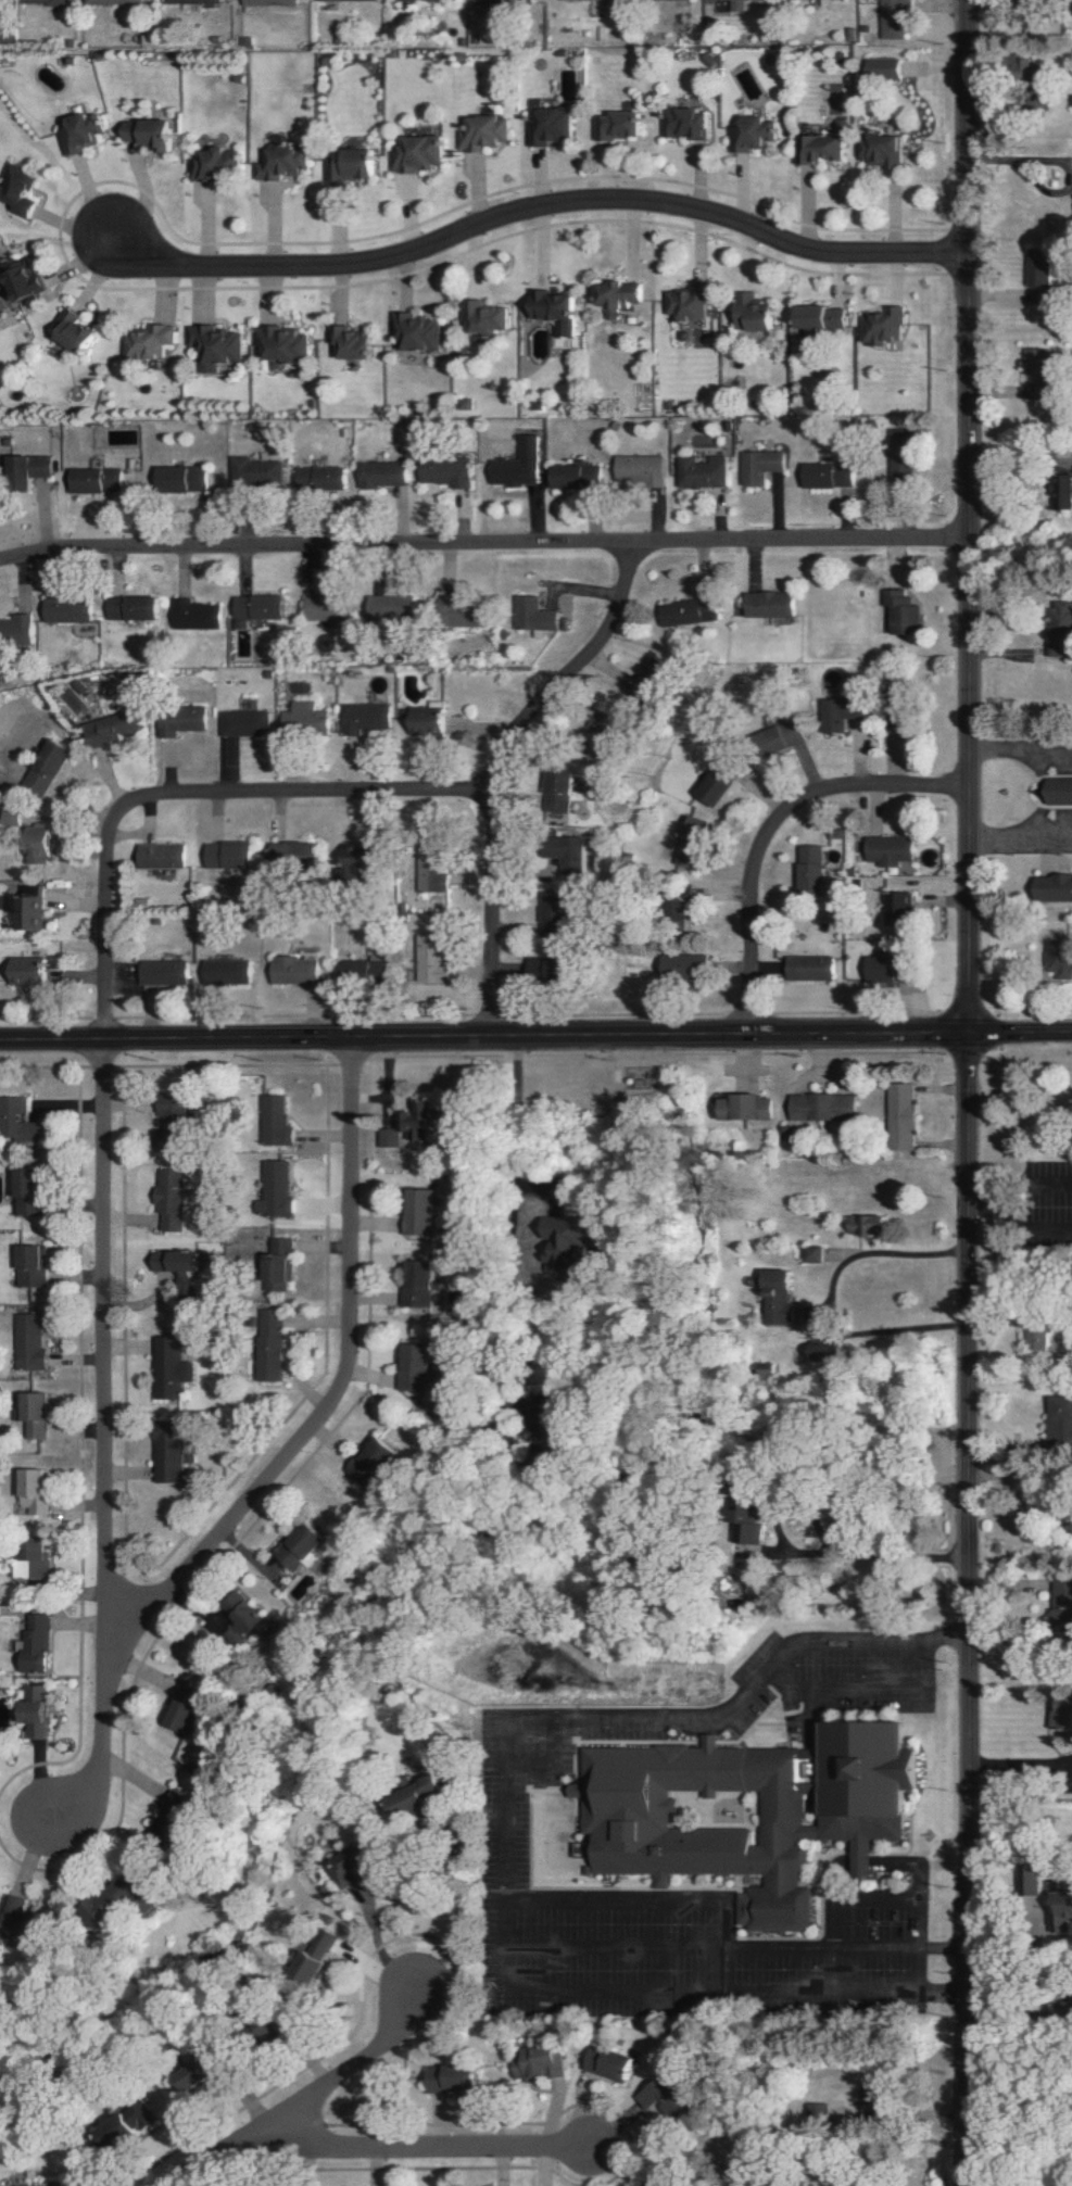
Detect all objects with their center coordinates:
building: (341, 0)
building: (400, 0)
building: (601, 0)
building: (769, 0)
building: (50, 1)
building: (114, 1)
building: (193, 1)
building: (504, 1)
building: (273, 2)
building: (739, 5)
building: (895, 17)
building: (886, 67)
building: (685, 122)
building: (551, 125)
building: (620, 126)
building: (85, 131)
building: (485, 132)
building: (154, 134)
building: (754, 135)
building: (820, 148)
building: (884, 148)
building: (417, 154)
building: (286, 161)
building: (354, 164)
building: (218, 165)
road: (1047, 187)
building: (22, 191)
road: (537, 206)
building: (1039, 276)
building: (26, 278)
building: (617, 296)
building: (686, 302)
building: (556, 309)
building: (756, 314)
building: (485, 317)
building: (820, 318)
building: (881, 326)
building: (78, 330)
building: (415, 332)
building: (285, 342)
building: (151, 343)
building: (219, 343)
building: (465, 404)
building: (518, 465)
building: (760, 466)
building: (33, 470)
building: (641, 470)
building: (446, 471)
building: (701, 471)
building: (255, 472)
building: (382, 473)
building: (827, 475)
building: (575, 476)
building: (321, 478)
building: (182, 479)
building: (98, 480)
building: (1071, 492)
road: (483, 543)
building: (768, 604)
building: (130, 608)
building: (255, 608)
building: (327, 608)
building: (394, 608)
building: (66, 609)
building: (686, 610)
building: (899, 611)
building: (533, 614)
building: (193, 615)
building: (1061, 629)
building: (16, 630)
building: (651, 681)
building: (841, 707)
building: (364, 718)
building: (304, 719)
building: (428, 720)
building: (895, 720)
building: (179, 721)
building: (243, 723)
building: (112, 728)
building: (785, 734)
road: (1011, 753)
building: (48, 767)
road: (496, 767)
building: (719, 782)
building: (558, 789)
building: (1061, 791)
road: (185, 795)
road: (769, 827)
road: (1019, 841)
building: (692, 843)
building: (41, 845)
building: (890, 850)
building: (295, 854)
building: (229, 855)
building: (572, 855)
building: (163, 856)
building: (362, 857)
building: (811, 870)
building: (433, 879)
building: (1055, 887)
building: (31, 908)
building: (901, 909)
building: (548, 937)
building: (1059, 959)
building: (431, 960)
building: (684, 966)
building: (810, 968)
building: (297, 970)
building: (30, 971)
building: (887, 971)
building: (166, 972)
building: (228, 972)
building: (365, 972)
road: (535, 1034)
road: (969, 1092)
building: (822, 1105)
building: (745, 1107)
building: (174, 1109)
building: (901, 1116)
building: (277, 1120)
building: (25, 1122)
road: (1050, 1183)
building: (276, 1189)
building: (29, 1191)
building: (173, 1198)
road: (1004, 1201)
building: (421, 1211)
road: (1048, 1222)
building: (869, 1224)
road: (506, 1228)
building: (564, 1240)
building: (811, 1253)
building: (281, 1263)
building: (31, 1264)
building: (179, 1265)
building: (420, 1285)
road: (832, 1292)
building: (778, 1298)
building: (1038, 1335)
building: (29, 1341)
building: (272, 1344)
building: (420, 1367)
building: (168, 1368)
road: (338, 1392)
building: (35, 1413)
building: (1059, 1424)
road: (103, 1443)
building: (167, 1451)
building: (376, 1463)
building: (34, 1490)
building: (1071, 1519)
building: (754, 1532)
building: (303, 1545)
road: (870, 1547)
building: (31, 1559)
building: (248, 1617)
building: (34, 1643)
road: (838, 1688)
building: (35, 1710)
building: (1061, 1714)
building: (186, 1715)
road: (552, 1766)
building: (424, 1795)
building: (746, 1809)
building: (180, 1812)
road: (502, 1837)
road: (865, 1862)
building: (357, 1871)
road: (917, 1883)
road: (831, 1896)
building: (105, 1904)
road: (459, 1906)
building: (1060, 1911)
road: (724, 1932)
road: (614, 1945)
road: (381, 1948)
building: (321, 1957)
road: (1019, 2000)
building: (542, 2062)
building: (613, 2062)
building: (456, 2080)
building: (668, 2097)
road: (305, 2098)
building: (818, 2114)
building: (135, 2122)
road: (414, 2145)
building: (59, 2183)

